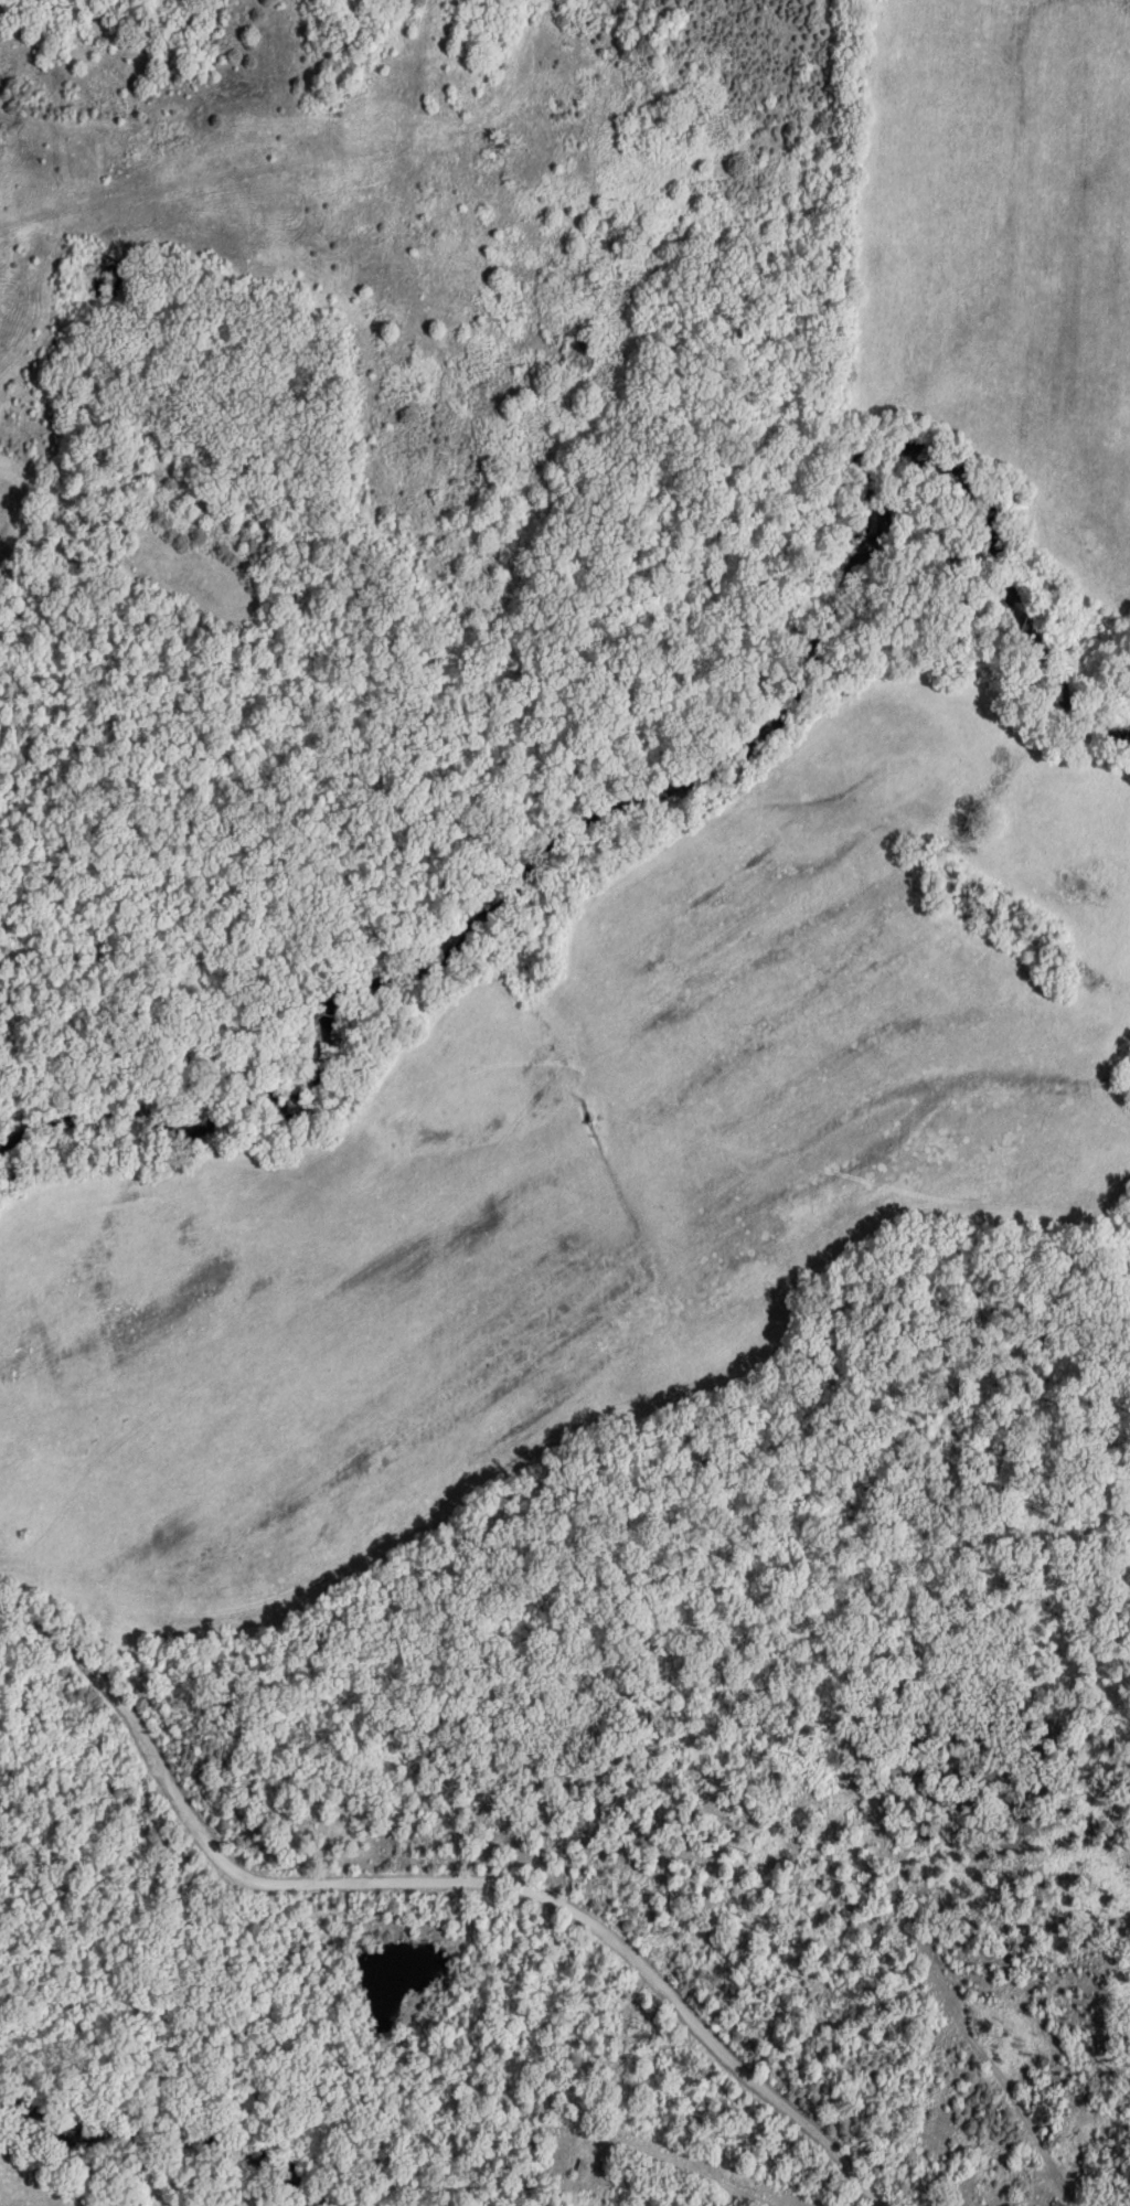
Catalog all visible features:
building: (231, 97)
road: (638, 1611)
road: (667, 1991)
road: (616, 2049)

